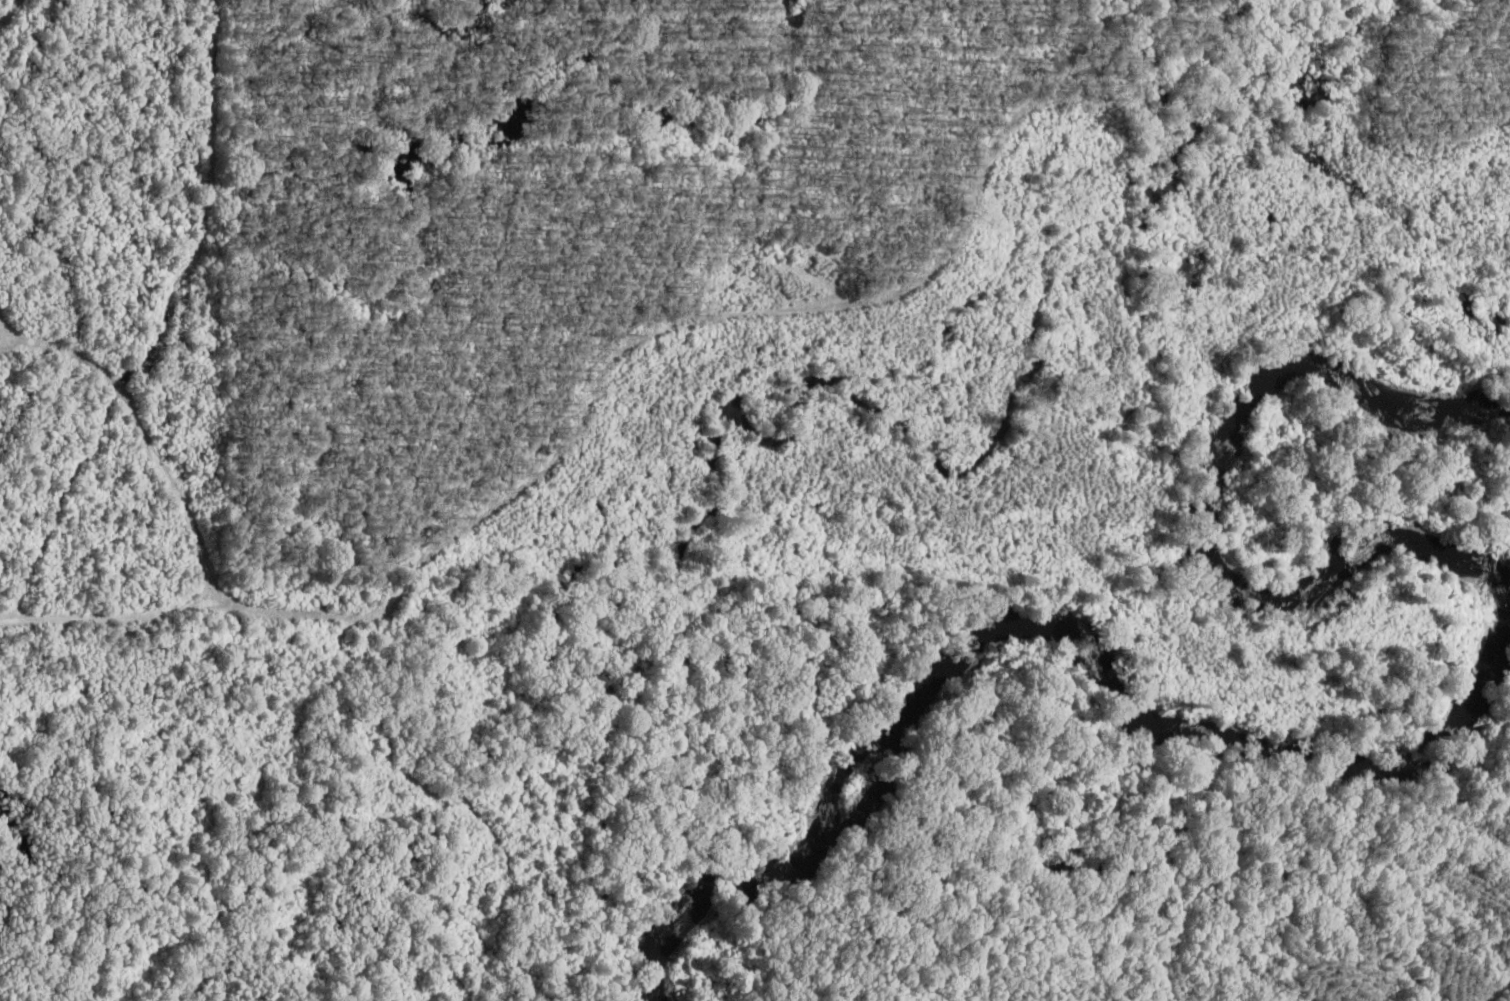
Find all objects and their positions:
river: (1414, 755)

